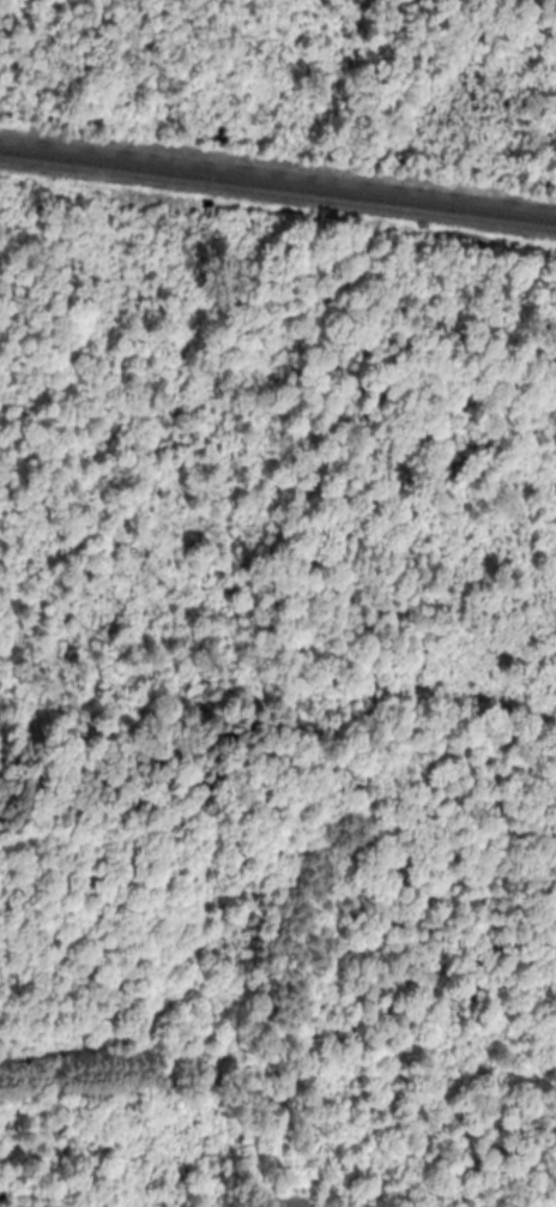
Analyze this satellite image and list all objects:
railway: (277, 186)
park: (278, 603)
road: (289, 1196)

